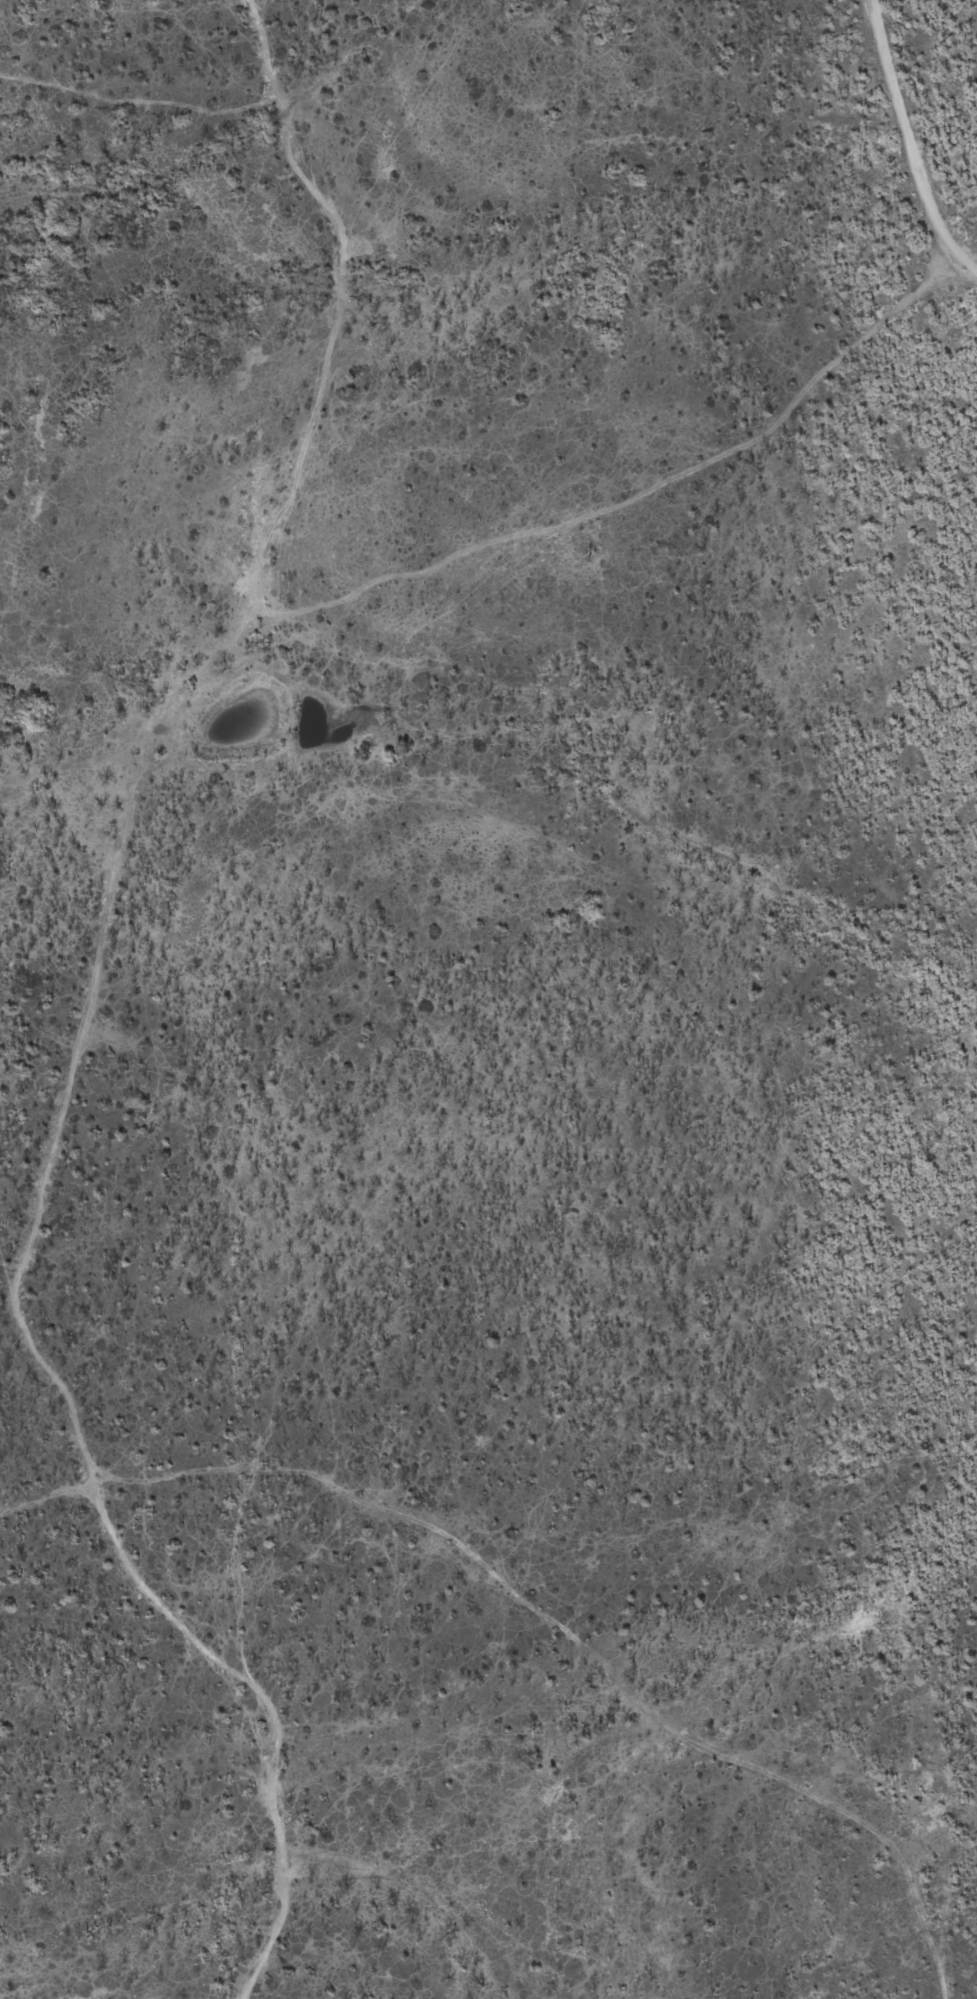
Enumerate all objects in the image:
road: (243, 45)
road: (905, 151)
road: (292, 228)
road: (120, 936)
road: (951, 1915)

